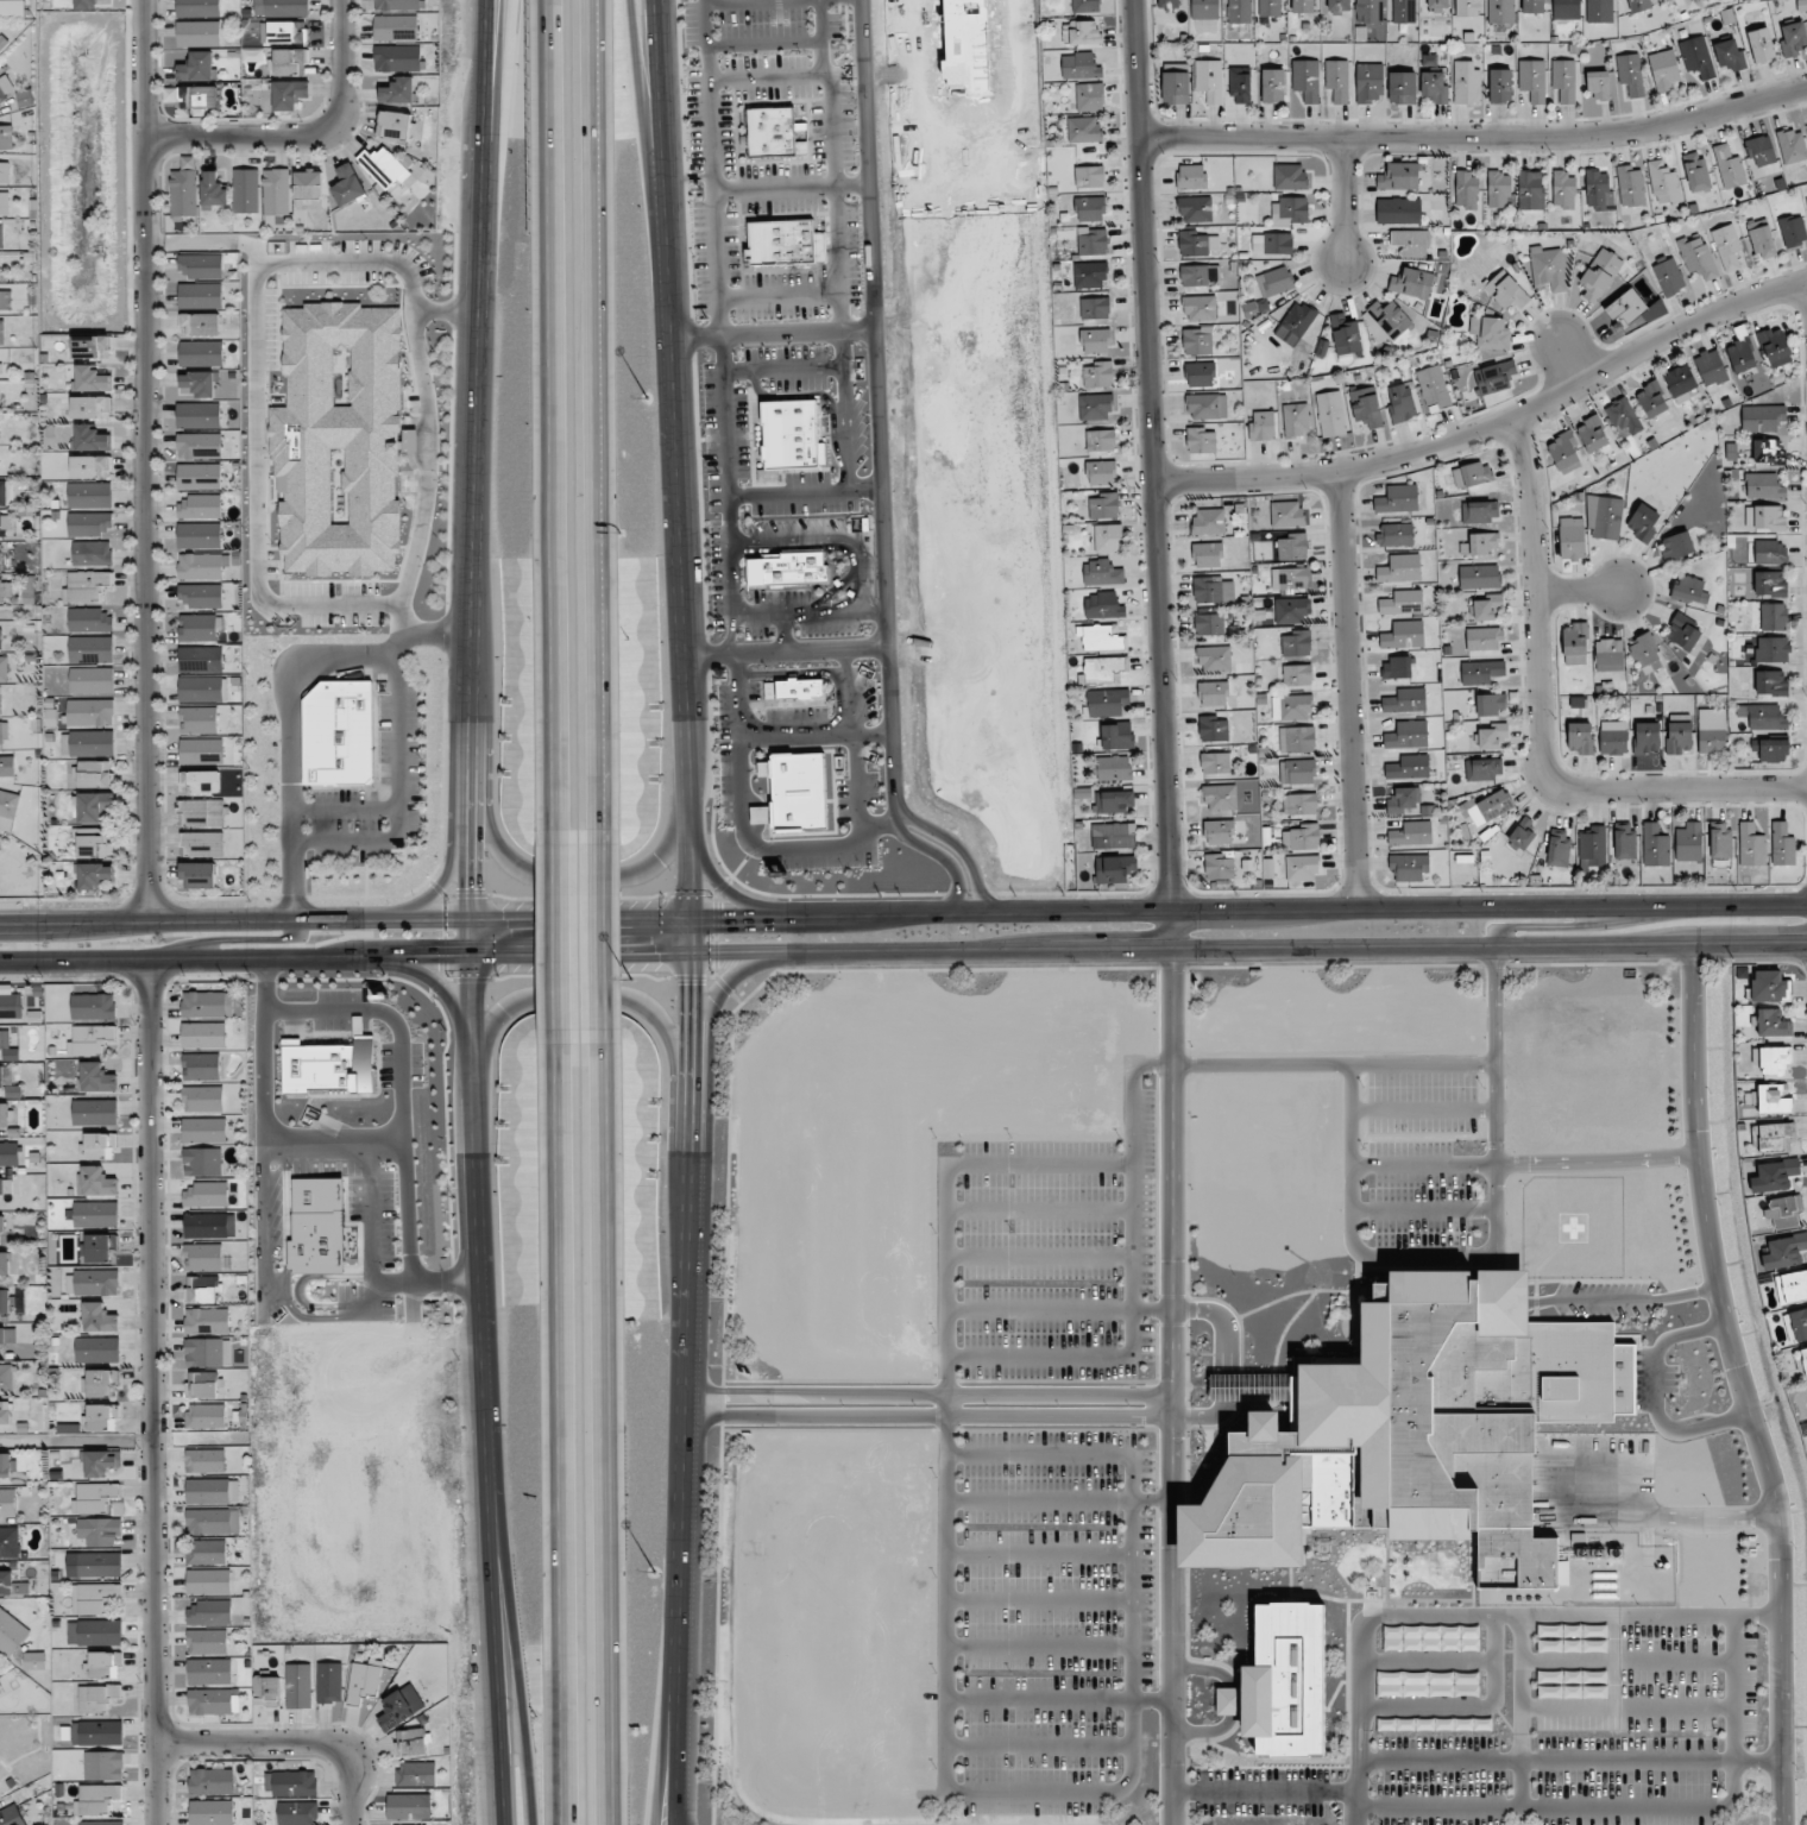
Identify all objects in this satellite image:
road: (738, 1)
building: (89, 4)
building: (1170, 4)
building: (396, 5)
building: (1437, 5)
building: (1638, 5)
building: (281, 6)
building: (1085, 6)
building: (1303, 6)
building: (1337, 6)
building: (1532, 6)
building: (12, 8)
building: (197, 8)
building: (1205, 8)
building: (1270, 8)
building: (1466, 8)
building: (1566, 8)
building: (1239, 11)
building: (1368, 11)
building: (1404, 11)
building: (1500, 11)
building: (1599, 11)
building: (395, 27)
building: (197, 32)
building: (285, 32)
building: (1082, 32)
road: (820, 36)
building: (1793, 39)
road: (764, 43)
building: (1761, 45)
building: (1729, 54)
building: (397, 57)
building: (1696, 57)
building: (289, 62)
building: (196, 67)
building: (1079, 67)
building: (1663, 69)
building: (1630, 74)
building: (1209, 80)
building: (1305, 80)
building: (1339, 80)
building: (1532, 80)
building: (1563, 80)
building: (1370, 82)
building: (1466, 82)
building: (1240, 84)
building: (1273, 86)
building: (1500, 86)
building: (1598, 86)
building: (1176, 87)
building: (1434, 87)
building: (1402, 88)
building: (397, 90)
building: (289, 94)
building: (2, 95)
building: (1090, 95)
building: (193, 96)
building: (395, 125)
road: (485, 130)
road: (500, 130)
building: (1083, 130)
building: (773, 133)
road: (301, 134)
building: (6, 137)
road: (1475, 137)
road: (833, 144)
road: (649, 146)
road: (661, 146)
building: (1792, 146)
building: (1761, 151)
building: (383, 166)
road: (712, 166)
building: (1729, 166)
building: (4, 172)
building: (1696, 172)
building: (1089, 176)
building: (1289, 176)
building: (1398, 176)
building: (1191, 177)
building: (1664, 183)
building: (347, 184)
building: (1630, 187)
road: (789, 188)
building: (1598, 188)
building: (213, 189)
building: (308, 189)
building: (1499, 189)
building: (245, 190)
building: (1466, 190)
building: (1530, 190)
building: (1563, 190)
building: (276, 191)
building: (183, 193)
road: (1343, 200)
building: (1806, 200)
building: (4, 202)
building: (1090, 208)
building: (1195, 209)
building: (1289, 210)
building: (1398, 210)
building: (1793, 231)
building: (1, 233)
building: (1093, 241)
building: (1762, 241)
building: (785, 243)
building: (1410, 243)
building: (1198, 244)
building: (1272, 244)
building: (1727, 248)
building: (1696, 256)
building: (201, 265)
building: (1548, 268)
building: (1599, 273)
building: (1090, 275)
building: (1200, 275)
building: (1669, 277)
building: (1274, 281)
building: (1412, 283)
road: (1806, 284)
building: (1505, 289)
building: (200, 294)
road: (779, 296)
building: (5, 300)
building: (1095, 308)
building: (1200, 308)
building: (1626, 308)
building: (1387, 319)
building: (200, 323)
building: (1295, 323)
building: (1, 332)
road: (770, 333)
building: (1490, 333)
building: (1346, 335)
building: (1095, 341)
building: (92, 346)
building: (1775, 347)
building: (201, 353)
building: (1742, 355)
road: (1568, 358)
building: (0, 367)
building: (1711, 367)
building: (1098, 375)
building: (1200, 375)
building: (1494, 377)
building: (92, 379)
building: (1680, 383)
building: (197, 384)
building: (1433, 388)
building: (1651, 399)
building: (1400, 403)
building: (90, 407)
building: (1096, 407)
building: (1207, 407)
building: (1366, 407)
road: (875, 409)
building: (1330, 414)
building: (197, 415)
road: (598, 415)
road: (549, 416)
building: (1623, 417)
building: (1762, 417)
building: (1296, 420)
building: (1263, 426)
road: (1492, 426)
building: (791, 434)
building: (1592, 434)
building: (92, 439)
building: (339, 440)
building: (1101, 440)
building: (1201, 440)
building: (199, 446)
building: (1768, 452)
building: (1564, 453)
road: (145, 460)
building: (90, 466)
building: (1102, 472)
road: (1152, 474)
building: (1472, 474)
building: (199, 476)
building: (1763, 485)
building: (2, 492)
road: (741, 492)
building: (89, 495)
building: (1397, 498)
building: (1103, 505)
building: (200, 506)
building: (1479, 511)
building: (1286, 514)
building: (1604, 516)
building: (1764, 518)
building: (1209, 521)
building: (5, 522)
building: (1643, 522)
building: (89, 524)
building: (199, 535)
building: (1394, 535)
road: (835, 537)
building: (1108, 537)
building: (1572, 539)
building: (1480, 545)
building: (1676, 546)
building: (1292, 547)
road: (835, 548)
building: (1769, 552)
building: (92, 553)
building: (1207, 554)
building: (0, 560)
building: (202, 566)
building: (1399, 568)
building: (788, 569)
building: (1102, 573)
building: (1479, 577)
building: (1289, 578)
building: (1769, 584)
building: (86, 585)
building: (29, 586)
building: (5, 589)
road: (1578, 590)
building: (1689, 590)
building: (1213, 591)
building: (200, 596)
road: (846, 600)
building: (1402, 603)
building: (1102, 605)
building: (1487, 606)
building: (1291, 610)
road: (810, 613)
building: (1773, 617)
building: (90, 619)
building: (1209, 624)
building: (197, 628)
building: (1682, 633)
road: (786, 634)
building: (0, 635)
building: (1403, 635)
road: (428, 636)
road: (730, 636)
building: (1098, 637)
building: (1484, 638)
building: (1296, 642)
building: (1575, 643)
building: (90, 649)
building: (1771, 649)
road: (783, 652)
building: (1647, 653)
building: (1608, 655)
building: (201, 659)
building: (1214, 659)
road: (707, 662)
building: (4, 668)
building: (1396, 668)
building: (1101, 669)
building: (1481, 672)
road: (792, 673)
building: (1297, 675)
building: (92, 680)
building: (1770, 682)
building: (200, 688)
building: (799, 688)
road: (1347, 690)
road: (846, 692)
building: (1214, 693)
building: (0, 699)
building: (1403, 700)
building: (1108, 701)
building: (1491, 704)
building: (1291, 707)
building: (90, 712)
building: (1765, 717)
building: (199, 719)
building: (1213, 729)
road: (1540, 729)
building: (1712, 731)
building: (4, 732)
building: (338, 734)
building: (1679, 734)
road: (816, 735)
building: (1406, 735)
building: (1116, 736)
building: (1492, 736)
building: (1647, 737)
building: (1580, 738)
building: (1612, 738)
building: (1297, 740)
building: (88, 743)
road: (291, 743)
building: (1770, 749)
building: (201, 750)
building: (1215, 762)
building: (7, 766)
building: (1408, 767)
building: (1114, 768)
building: (1482, 768)
building: (1297, 772)
building: (94, 774)
building: (200, 781)
building: (797, 791)
building: (1220, 797)
road: (397, 799)
building: (1403, 800)
building: (1113, 801)
building: (8, 804)
building: (1299, 804)
building: (94, 805)
building: (1486, 807)
road: (345, 810)
building: (202, 812)
building: (760, 814)
road: (473, 819)
road: (879, 823)
building: (1219, 832)
building: (1411, 833)
building: (1113, 836)
building: (1302, 837)
building: (1522, 837)
building: (1624, 841)
building: (1720, 841)
building: (1688, 842)
building: (93, 844)
building: (202, 844)
building: (1782, 844)
building: (1591, 845)
building: (1655, 845)
building: (1751, 845)
road: (763, 848)
road: (959, 848)
building: (1557, 849)
road: (943, 857)
road: (738, 867)
building: (1219, 867)
building: (1409, 867)
building: (1114, 868)
building: (1301, 868)
building: (94, 875)
building: (197, 875)
road: (580, 883)
traffic signals: (472, 886)
road: (439, 887)
road: (723, 889)
road: (1383, 908)
road: (825, 918)
road: (193, 919)
traffic signals: (515, 920)
road: (537, 920)
traffic signals: (723, 920)
road: (1564, 926)
road: (227, 939)
road: (603, 940)
road: (554, 942)
road: (1292, 949)
road: (523, 954)
traffic signals: (646, 954)
traffic signals: (432, 955)
road: (209, 958)
road: (75, 959)
road: (690, 978)
road: (725, 981)
road: (435, 982)
traffic signals: (691, 986)
building: (1769, 987)
road: (585, 996)
building: (207, 1003)
building: (11, 1005)
building: (93, 1006)
building: (1773, 1022)
building: (203, 1034)
building: (89, 1039)
building: (7, 1046)
building: (1774, 1059)
road: (1314, 1064)
building: (201, 1065)
building: (329, 1066)
building: (96, 1077)
building: (202, 1099)
road: (1494, 1102)
road: (1423, 1108)
building: (95, 1112)
building: (4, 1114)
road: (267, 1114)
road: (404, 1121)
building: (203, 1129)
building: (1770, 1138)
building: (99, 1145)
building: (8, 1153)
building: (202, 1162)
road: (1594, 1164)
road: (1039, 1165)
road: (1423, 1165)
building: (1774, 1175)
building: (95, 1182)
building: (6, 1185)
building: (206, 1195)
road: (1423, 1209)
building: (1783, 1210)
road: (1039, 1213)
building: (95, 1214)
building: (209, 1226)
building: (317, 1226)
road: (1352, 1226)
helipad: (1573, 1228)
building: (99, 1247)
building: (1784, 1251)
building: (203, 1256)
road: (1039, 1259)
building: (93, 1282)
building: (1792, 1286)
building: (202, 1289)
road: (1625, 1301)
building: (6, 1302)
road: (1133, 1304)
road: (1058, 1311)
building: (97, 1317)
building: (207, 1321)
building: (1796, 1324)
building: (7, 1336)
building: (96, 1348)
building: (207, 1352)
building: (1, 1355)
building: (1341, 1360)
building: (1802, 1360)
building: (10, 1377)
building: (99, 1383)
building: (202, 1385)
road: (1742, 1385)
road: (1172, 1387)
road: (153, 1391)
road: (930, 1396)
road: (1656, 1397)
road: (1227, 1406)
building: (6, 1411)
building: (206, 1416)
building: (102, 1417)
road: (928, 1421)
building: (1415, 1431)
road: (559, 1437)
road: (605, 1437)
building: (204, 1460)
building: (101, 1462)
road: (945, 1478)
building: (207, 1491)
building: (94, 1497)
building: (7, 1503)
road: (1058, 1503)
road: (1669, 1517)
building: (213, 1521)
building: (99, 1530)
building: (10, 1542)
building: (206, 1552)
road: (1038, 1556)
building: (94, 1565)
building: (6, 1581)
building: (209, 1581)
building: (93, 1597)
road: (496, 1601)
road: (515, 1601)
road: (1039, 1603)
building: (209, 1612)
road: (1500, 1617)
road: (1133, 1621)
building: (1572, 1630)
building: (94, 1631)
building: (11, 1632)
building: (1431, 1638)
building: (207, 1641)
building: (1572, 1645)
road: (1039, 1648)
building: (33, 1661)
road: (1428, 1661)
road: (1627, 1662)
building: (105, 1664)
building: (209, 1670)
building: (1549, 1676)
building: (1589, 1676)
building: (364, 1680)
building: (1286, 1681)
building: (329, 1682)
building: (1428, 1684)
building: (0, 1686)
building: (298, 1686)
building: (96, 1698)
building: (210, 1701)
building: (1226, 1701)
road: (1058, 1703)
road: (1230, 1704)
road: (1627, 1706)
road: (1471, 1707)
building: (396, 1710)
road: (1522, 1712)
building: (1434, 1724)
building: (97, 1732)
building: (413, 1743)
road: (292, 1745)
road: (670, 1745)
road: (676, 1745)
road: (1039, 1748)
road: (1548, 1762)
road: (1757, 1762)
building: (103, 1764)
building: (416, 1774)
building: (210, 1781)
building: (290, 1783)
road: (1264, 1793)
road: (1355, 1793)
building: (96, 1799)
building: (409, 1806)
road: (1636, 1808)
building: (210, 1812)
building: (297, 1812)
building: (11, 1815)
building: (101, 1823)

